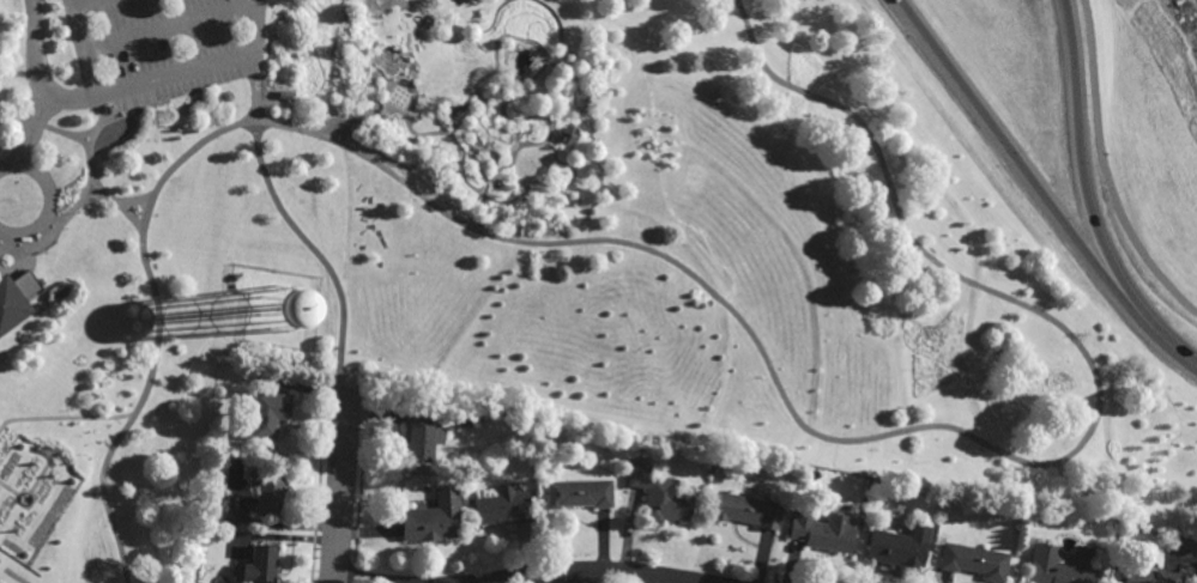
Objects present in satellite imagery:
road: (404, 0)
road: (431, 4)
road: (461, 4)
road: (391, 6)
road: (170, 28)
road: (256, 28)
road: (81, 42)
parking lot: (163, 47)
road: (465, 47)
road: (397, 50)
road: (255, 65)
building: (592, 65)
road: (34, 75)
road: (175, 75)
road: (532, 80)
road: (387, 83)
road: (397, 90)
road: (400, 92)
building: (285, 93)
road: (393, 93)
road: (386, 95)
road: (405, 95)
road: (398, 97)
road: (391, 98)
road: (403, 98)
road: (395, 101)
road: (399, 104)
road: (16, 115)
road: (351, 117)
road: (35, 129)
road: (1064, 132)
road: (83, 134)
building: (568, 134)
road: (979, 135)
road: (18, 141)
road: (83, 142)
road: (659, 148)
road: (182, 157)
road: (1105, 169)
road: (87, 186)
road: (483, 195)
road: (92, 196)
road: (49, 200)
road: (117, 200)
road: (131, 215)
road: (347, 218)
road: (301, 235)
park: (533, 247)
road: (31, 249)
building: (17, 297)
road: (1191, 297)
water tower: (271, 314)
road: (1135, 314)
road: (134, 409)
building: (267, 413)
road: (64, 418)
building: (466, 419)
road: (925, 426)
building: (421, 432)
road: (173, 456)
road: (341, 486)
building: (268, 491)
building: (579, 493)
building: (659, 496)
building: (502, 506)
building: (748, 510)
building: (205, 520)
building: (429, 523)
building: (826, 532)
building: (900, 546)
building: (974, 560)
building: (260, 564)
building: (1057, 566)
road: (594, 571)
building: (1149, 575)
road: (343, 581)

